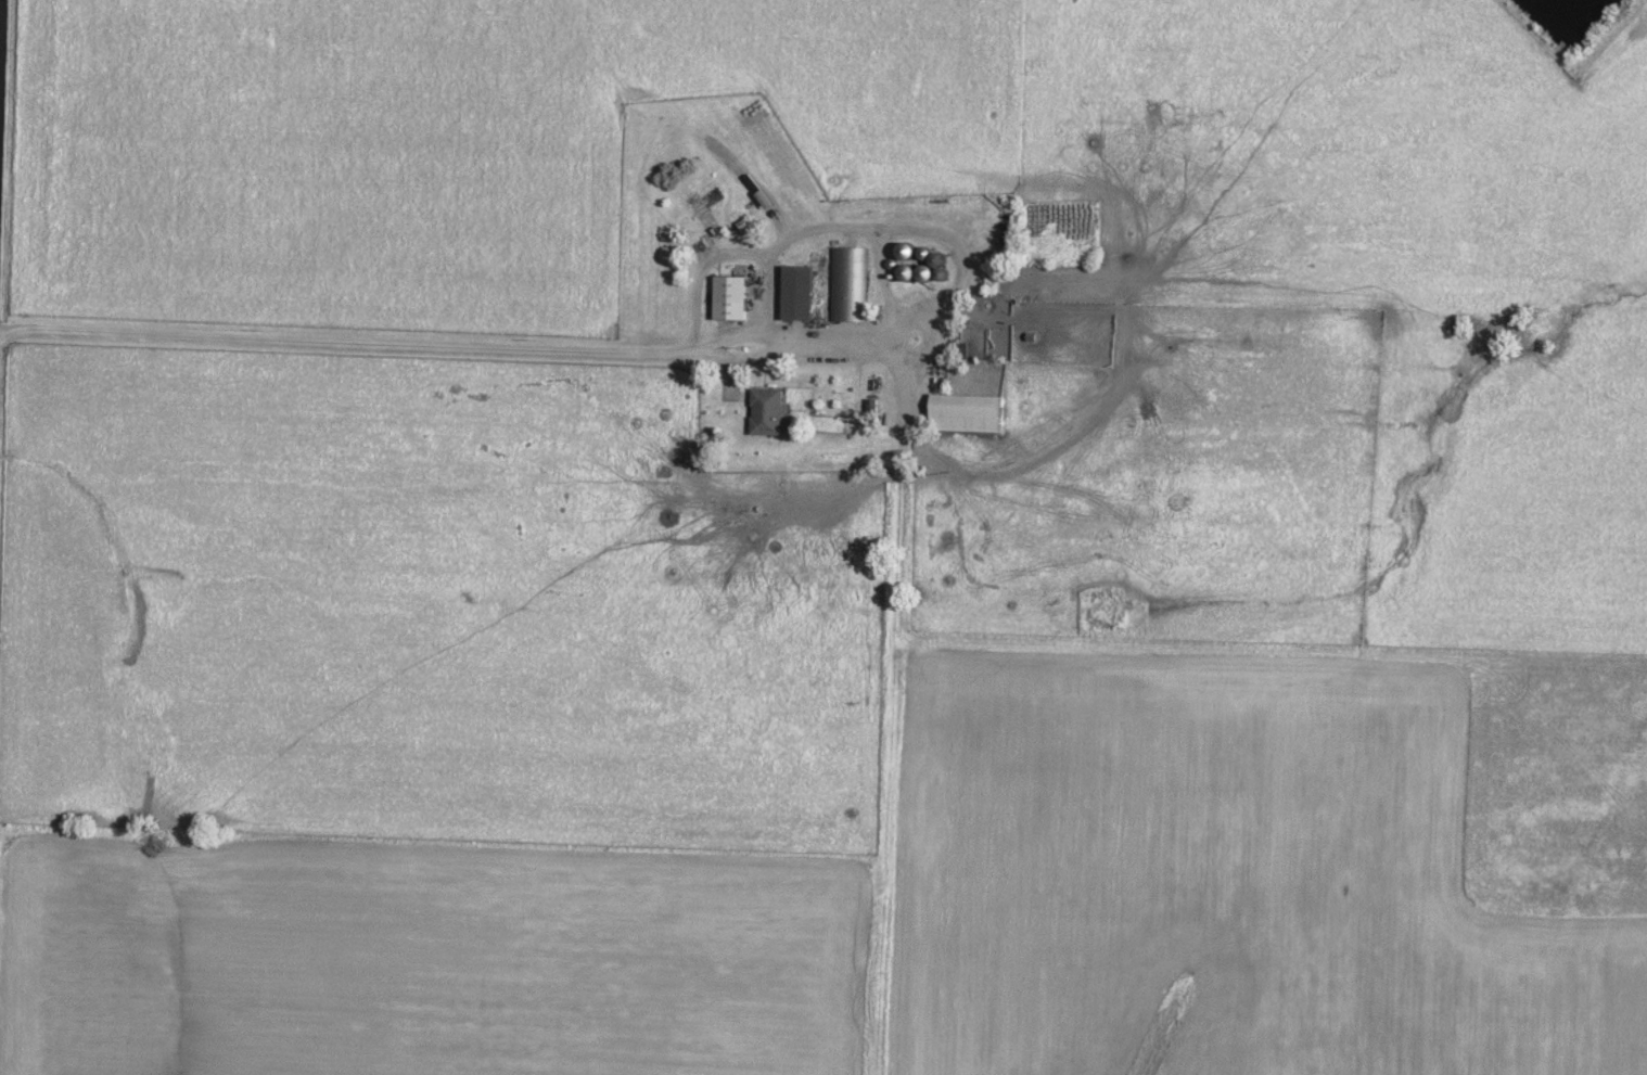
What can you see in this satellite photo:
road: (0, 46)
building: (712, 212)
building: (850, 284)
building: (801, 293)
building: (733, 297)
road: (444, 348)
building: (770, 412)
building: (970, 414)

